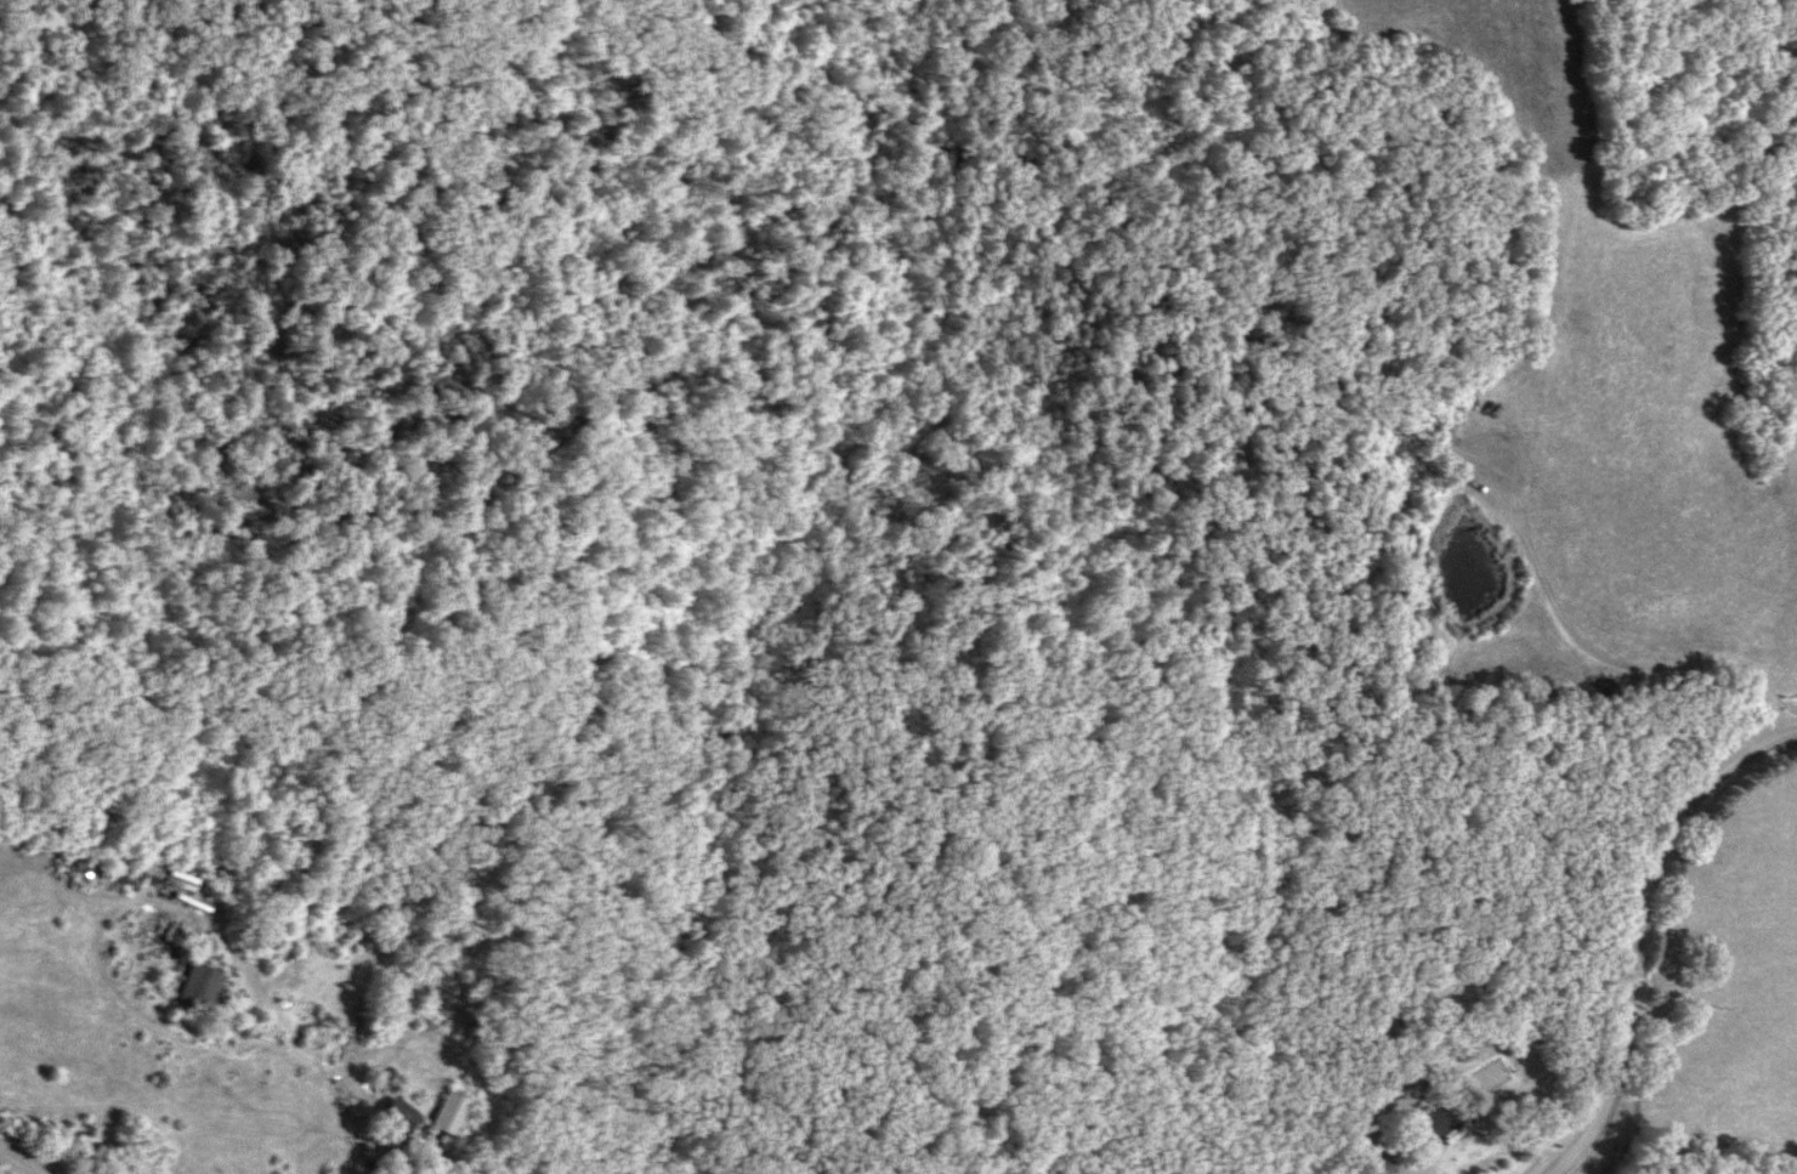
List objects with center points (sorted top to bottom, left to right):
building: (83, 866)
road: (1640, 926)
building: (197, 992)
building: (449, 1116)
building: (397, 1121)
building: (1430, 1127)
road: (17, 1161)
road: (379, 1161)

